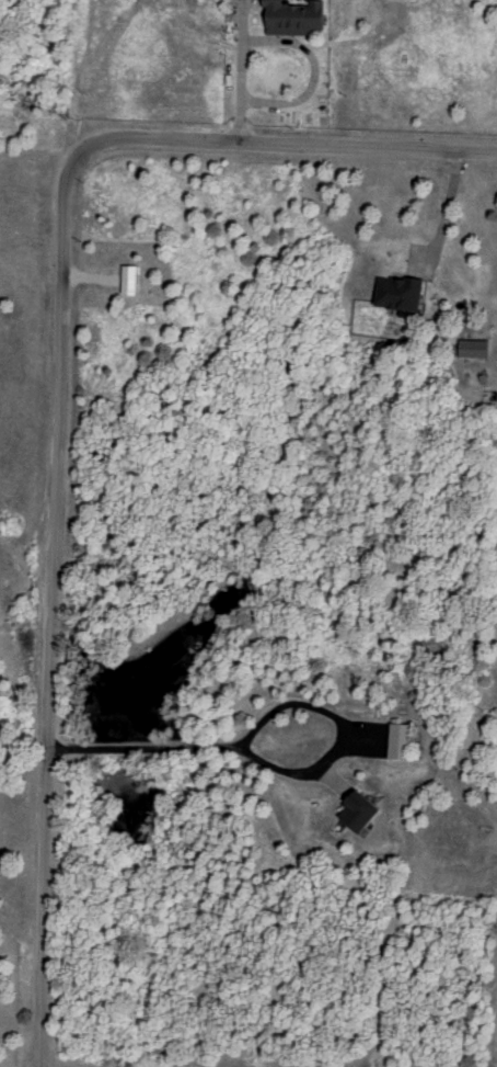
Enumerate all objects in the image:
building: (290, 15)
road: (240, 71)
road: (367, 149)
road: (450, 216)
building: (395, 291)
building: (469, 345)
road: (53, 526)
building: (395, 738)
road: (141, 750)
road: (340, 759)
building: (351, 808)

